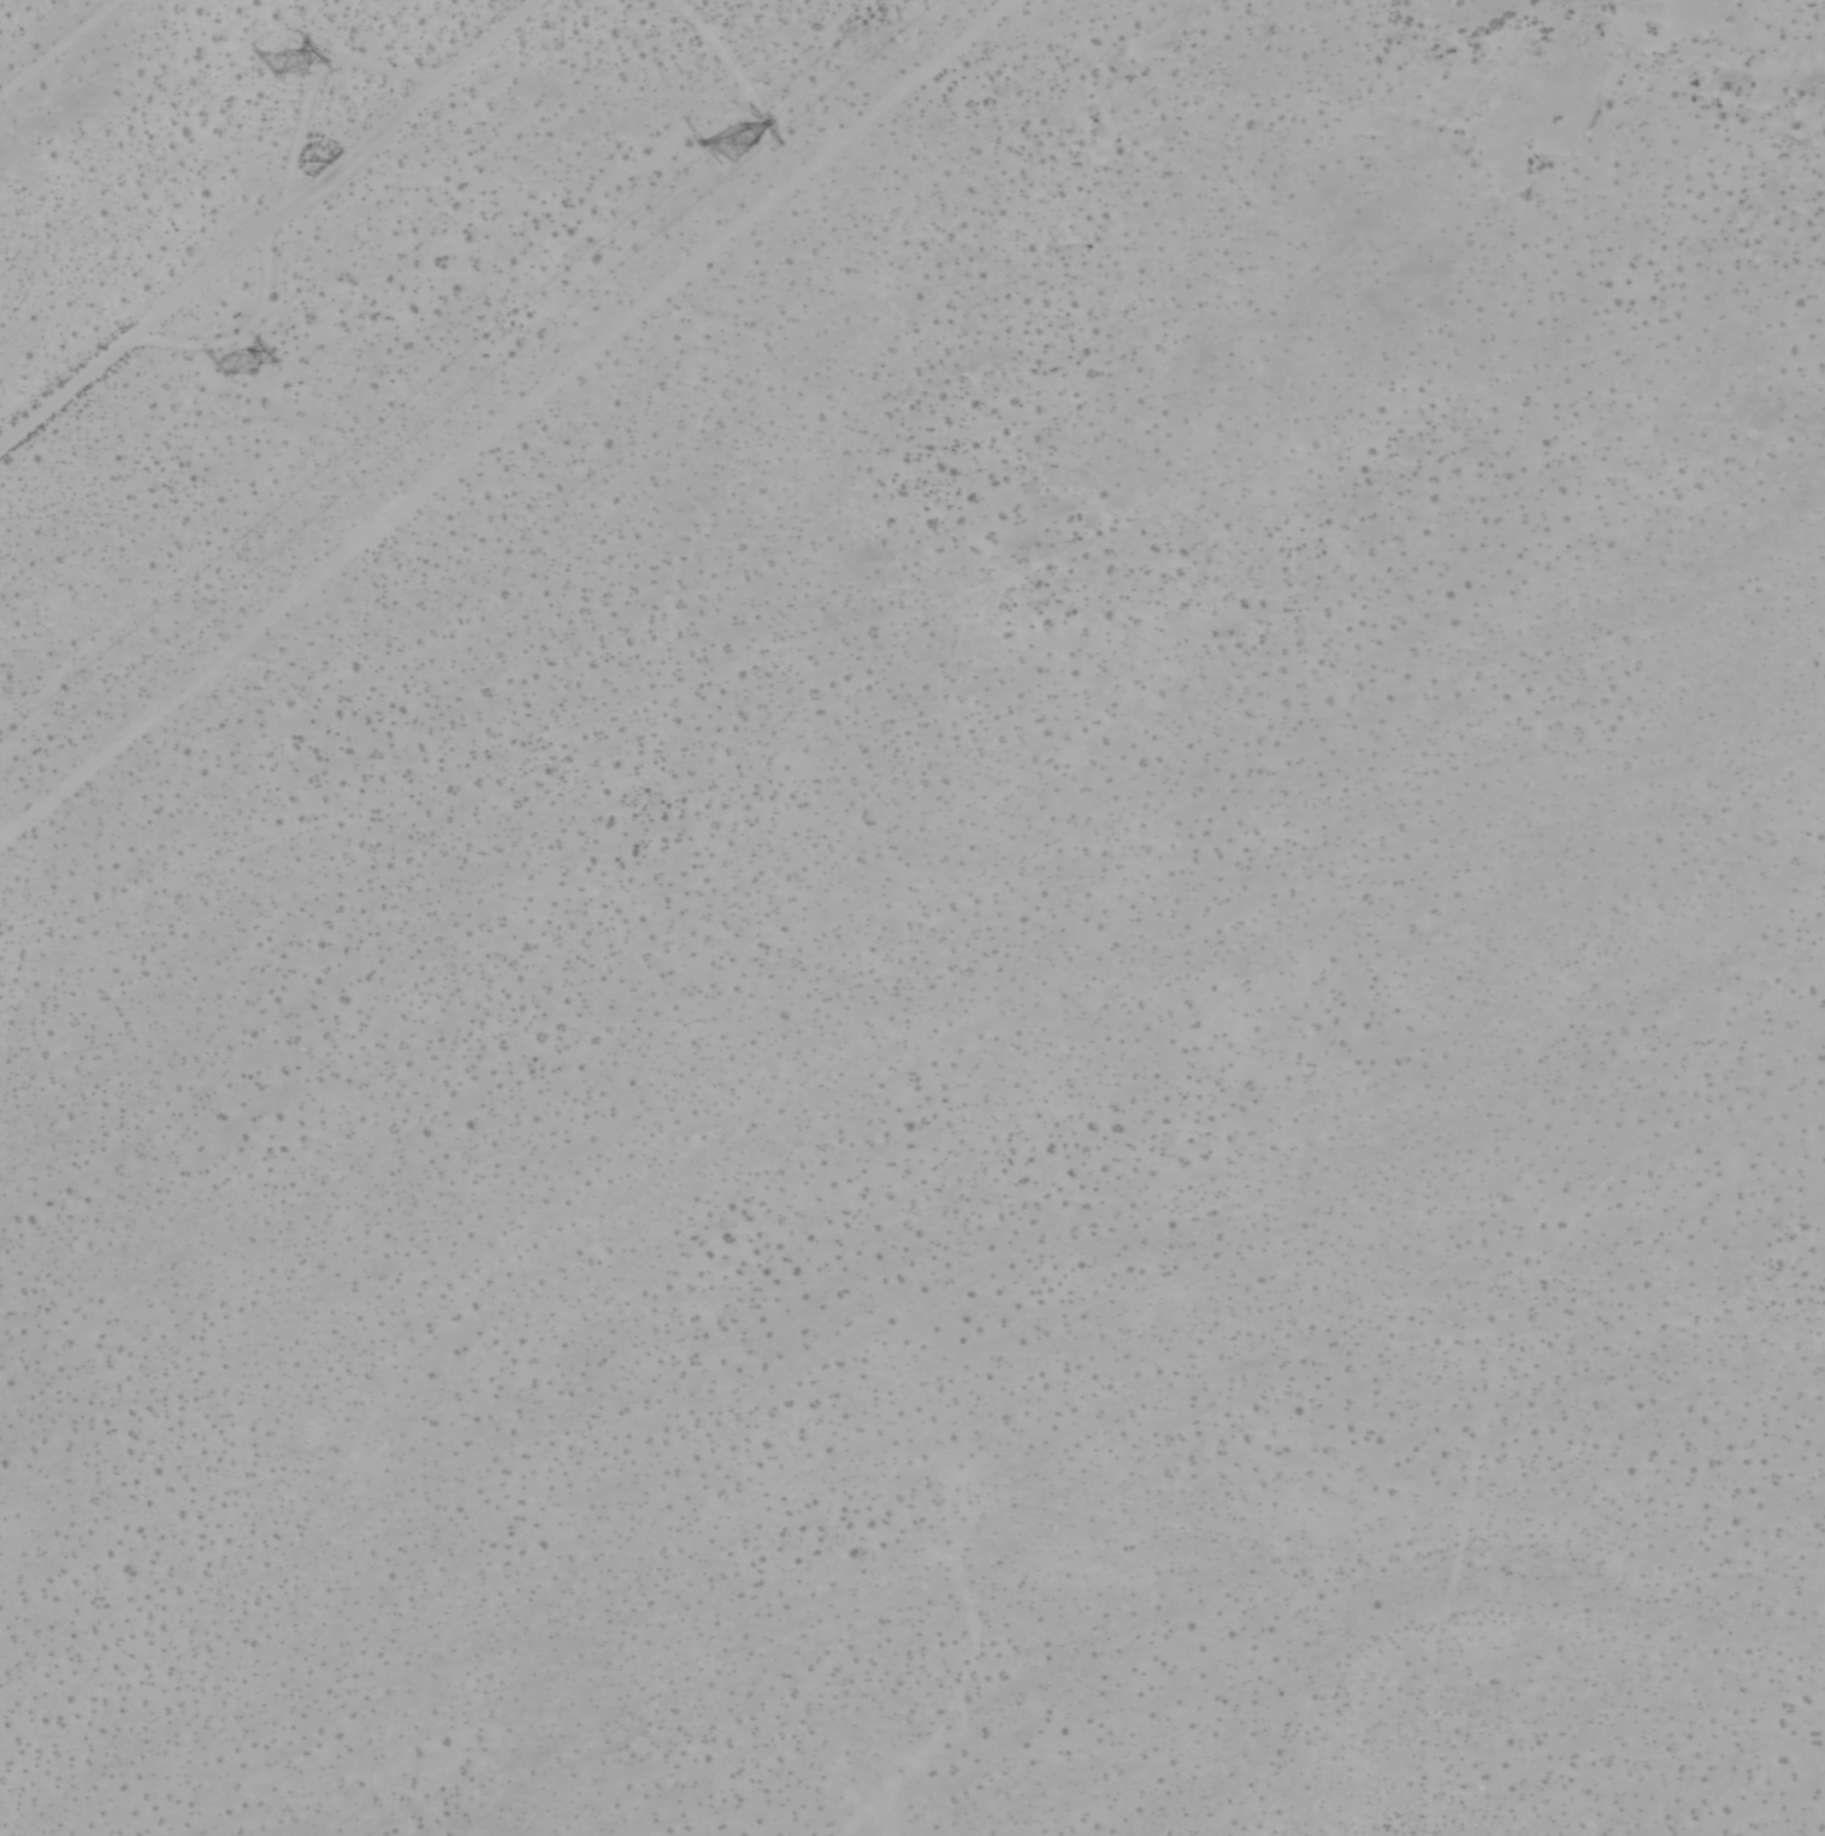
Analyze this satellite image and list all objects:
power tower: (276, 72)
road: (408, 99)
power tower: (733, 143)
road: (144, 317)
power tower: (246, 367)

